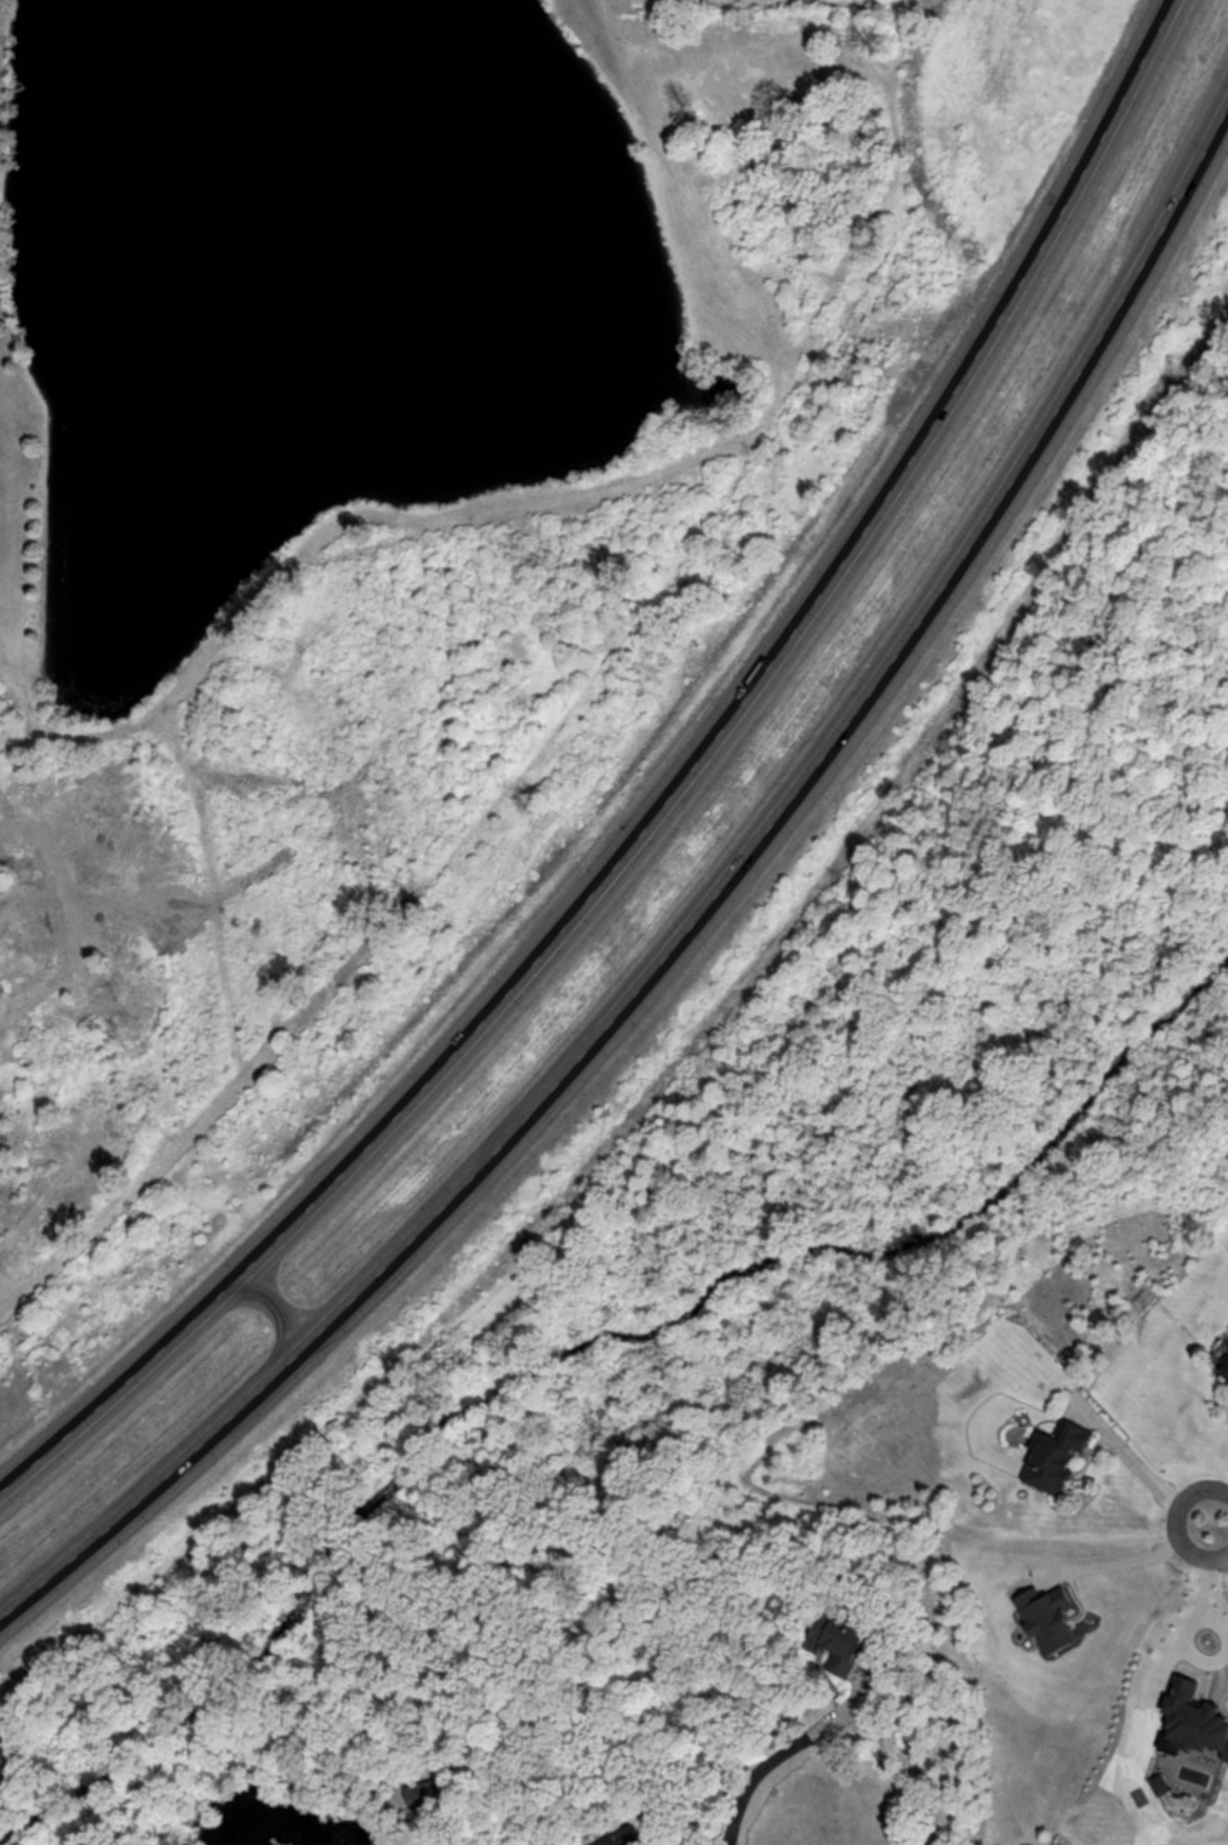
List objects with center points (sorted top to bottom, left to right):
building: (756, 29)
park: (338, 552)
road: (673, 812)
road: (691, 932)
road: (279, 1310)
building: (1224, 1371)
building: (1055, 1456)
road: (1142, 1469)
road: (1220, 1518)
road: (1144, 1564)
road: (1193, 1611)
building: (844, 1641)
road: (758, 1777)
building: (423, 1794)
building: (640, 1838)

